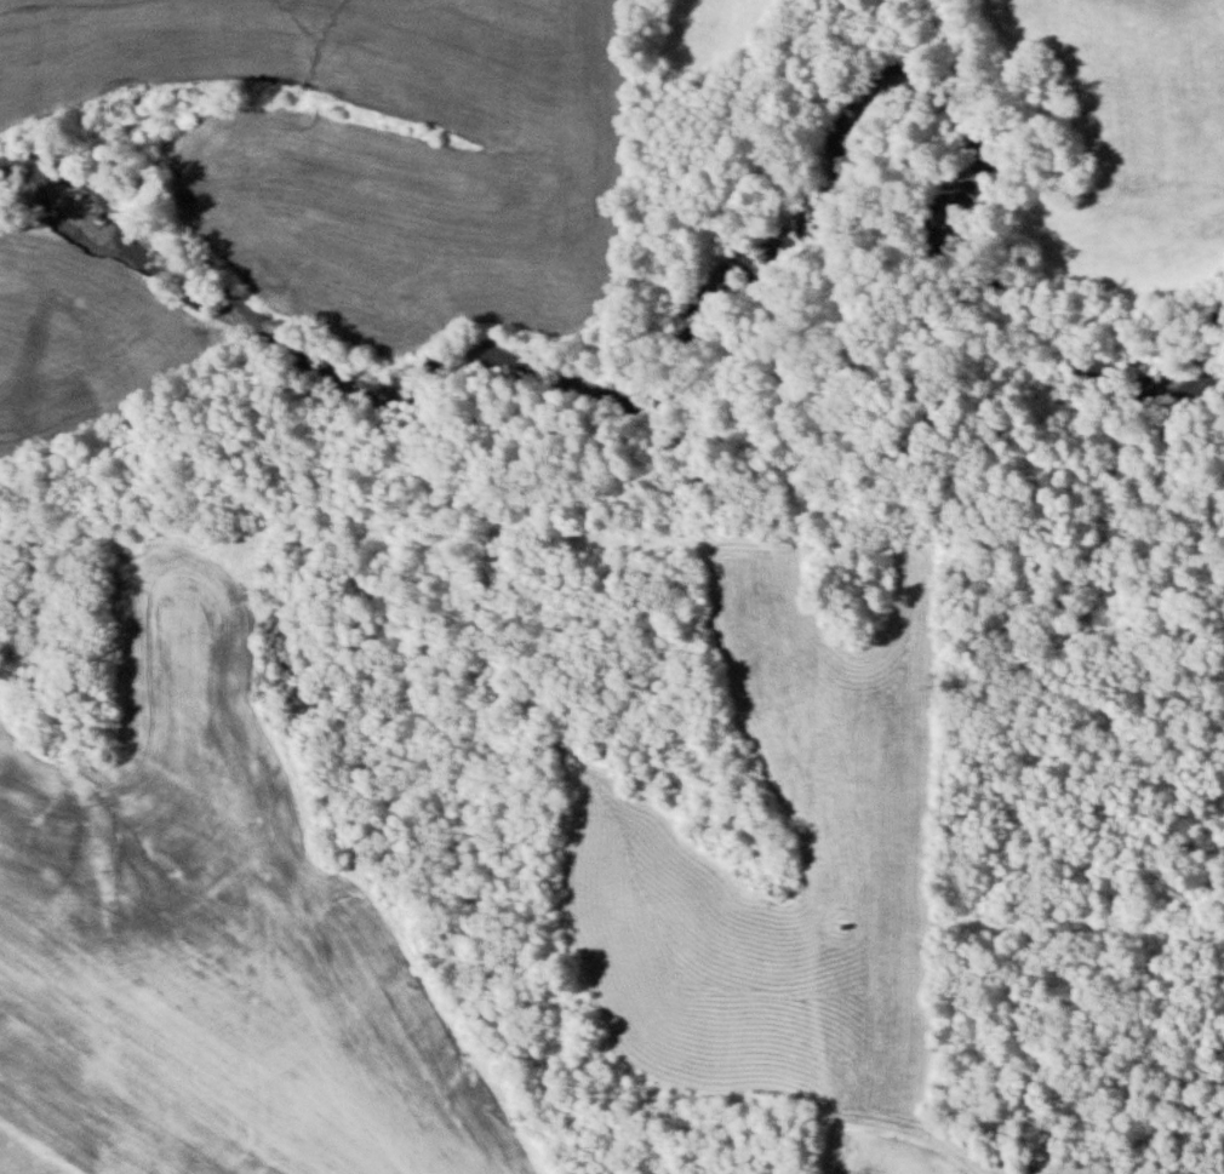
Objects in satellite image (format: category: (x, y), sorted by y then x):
river: (502, 407)

